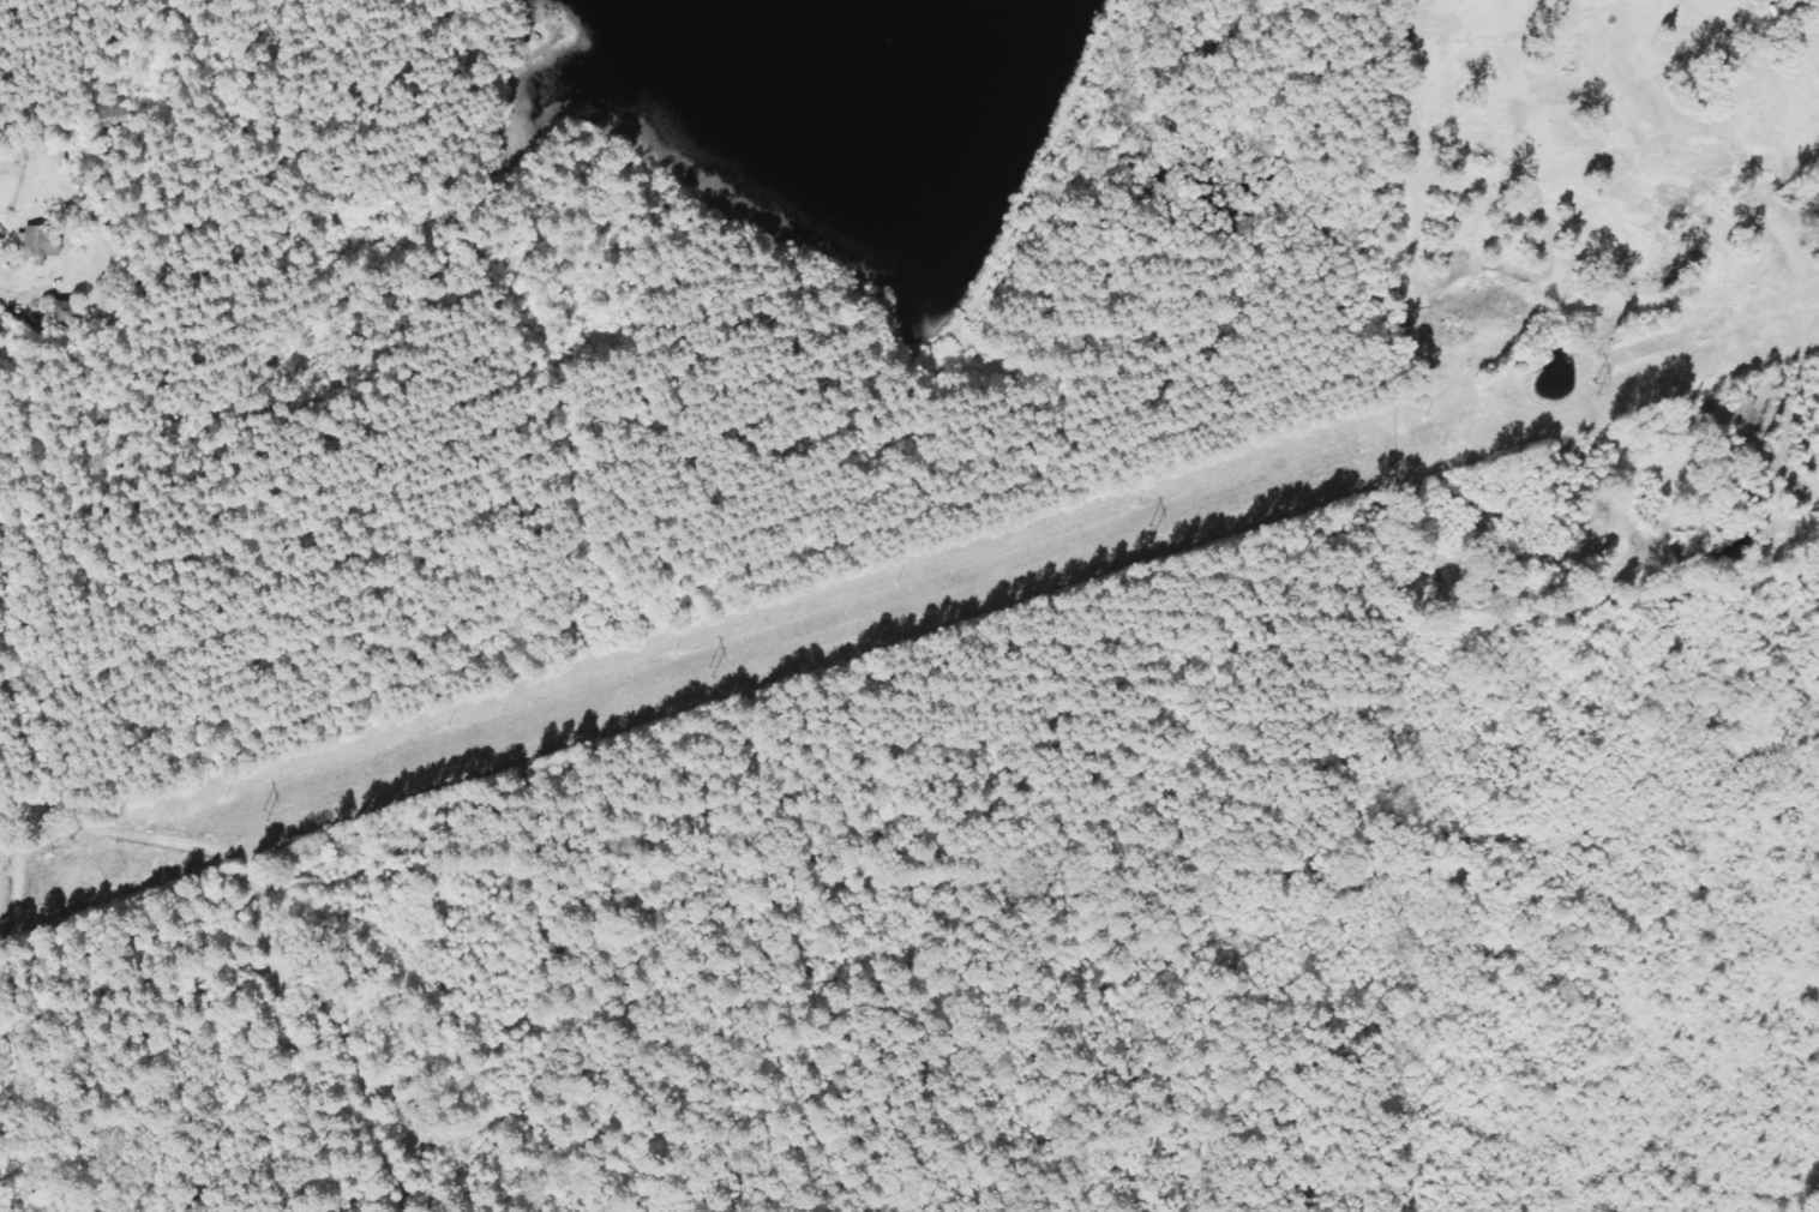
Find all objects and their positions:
building: (46, 246)
road: (17, 292)
road: (593, 883)

